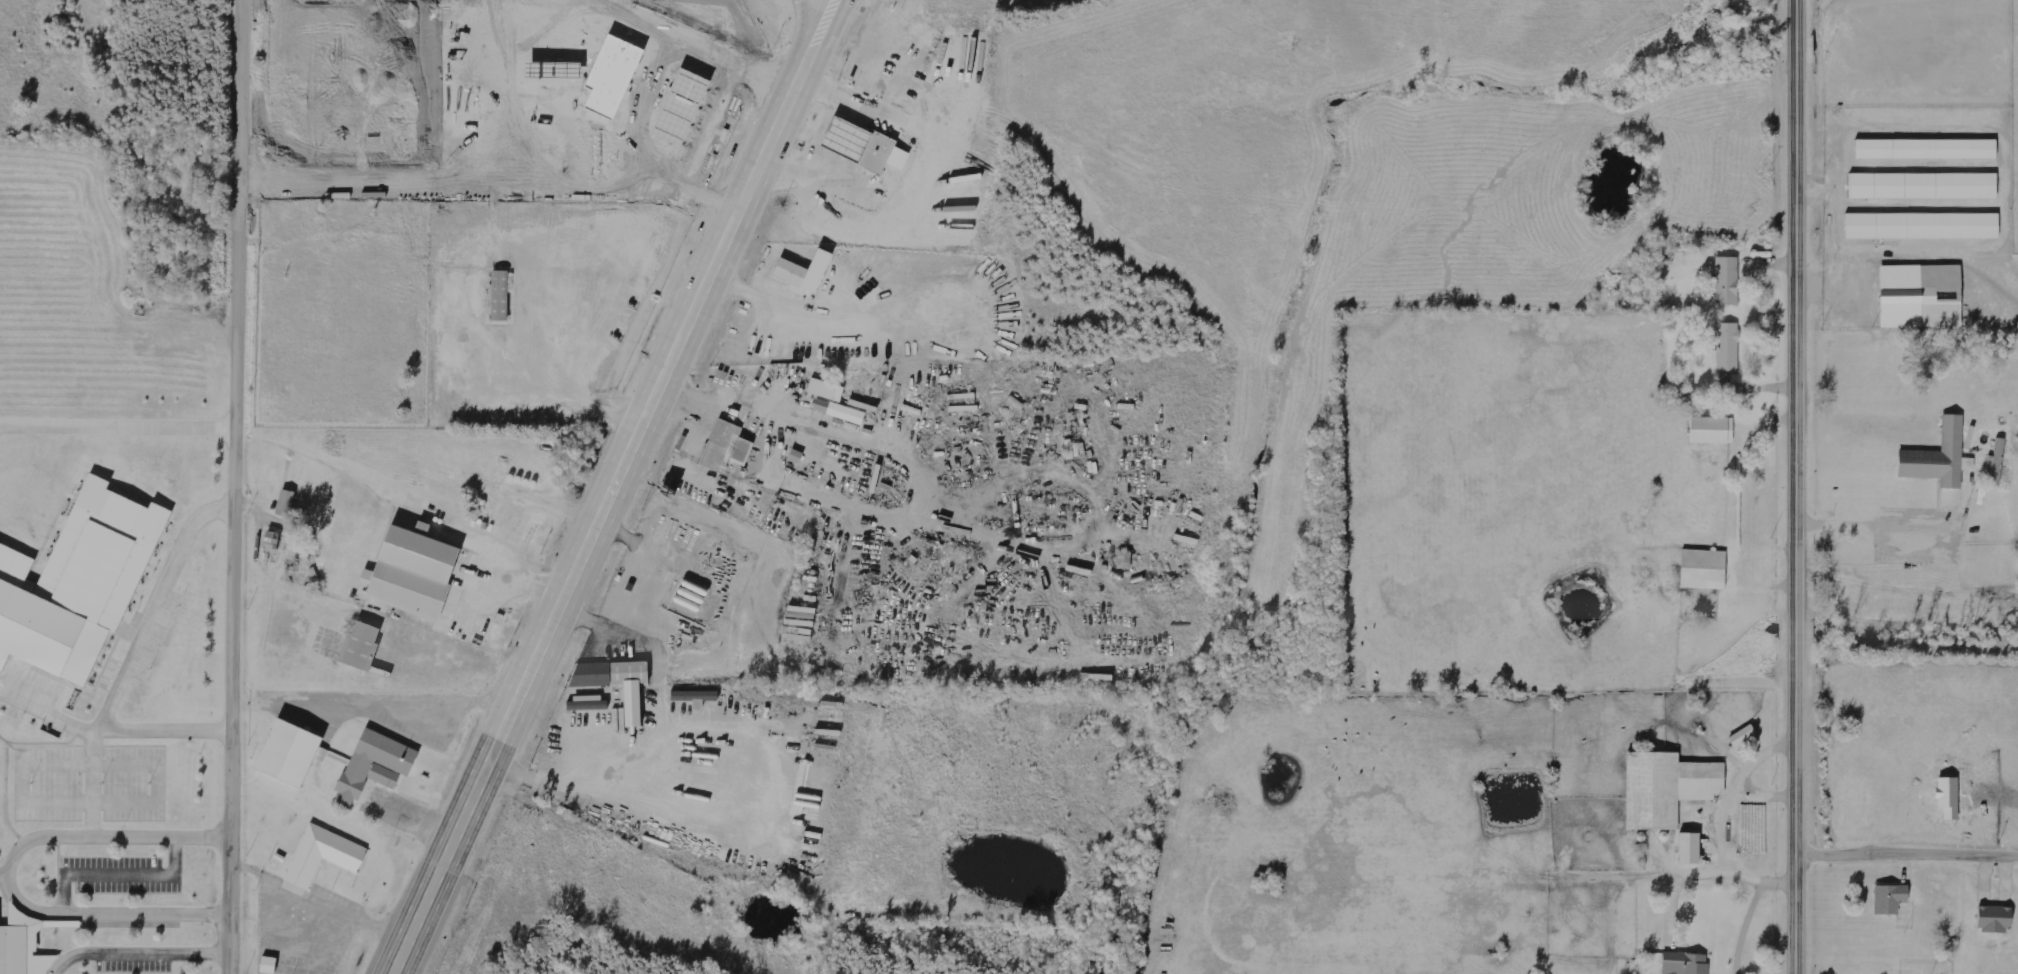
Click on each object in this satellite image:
road: (806, 18)
road: (672, 33)
road: (776, 64)
building: (550, 70)
gas station: (550, 70)
building: (610, 74)
road: (505, 92)
road: (556, 92)
road: (764, 92)
building: (677, 106)
gas station: (677, 106)
road: (1799, 110)
road: (646, 111)
road: (702, 124)
building: (841, 138)
gas station: (841, 138)
building: (1926, 148)
building: (879, 152)
road: (488, 184)
building: (1923, 186)
building: (1922, 226)
building: (804, 270)
building: (1727, 280)
building: (499, 295)
building: (1920, 295)
building: (1727, 347)
building: (825, 389)
building: (839, 411)
road: (119, 423)
building: (1712, 430)
building: (725, 446)
building: (1939, 457)
road: (608, 486)
road: (237, 487)
building: (285, 502)
building: (422, 528)
building: (1124, 559)
building: (1703, 569)
building: (411, 573)
road: (522, 576)
building: (71, 586)
road: (1800, 597)
road: (155, 603)
building: (360, 646)
building: (616, 682)
building: (694, 696)
building: (588, 705)
road: (111, 728)
building: (1744, 737)
building: (281, 752)
building: (369, 765)
building: (1666, 787)
road: (1909, 825)
building: (1689, 848)
building: (319, 852)
road: (5, 872)
road: (11, 872)
building: (294, 889)
building: (1889, 899)
building: (1994, 919)
building: (11, 949)
road: (137, 950)
building: (1685, 963)
building: (268, 965)

